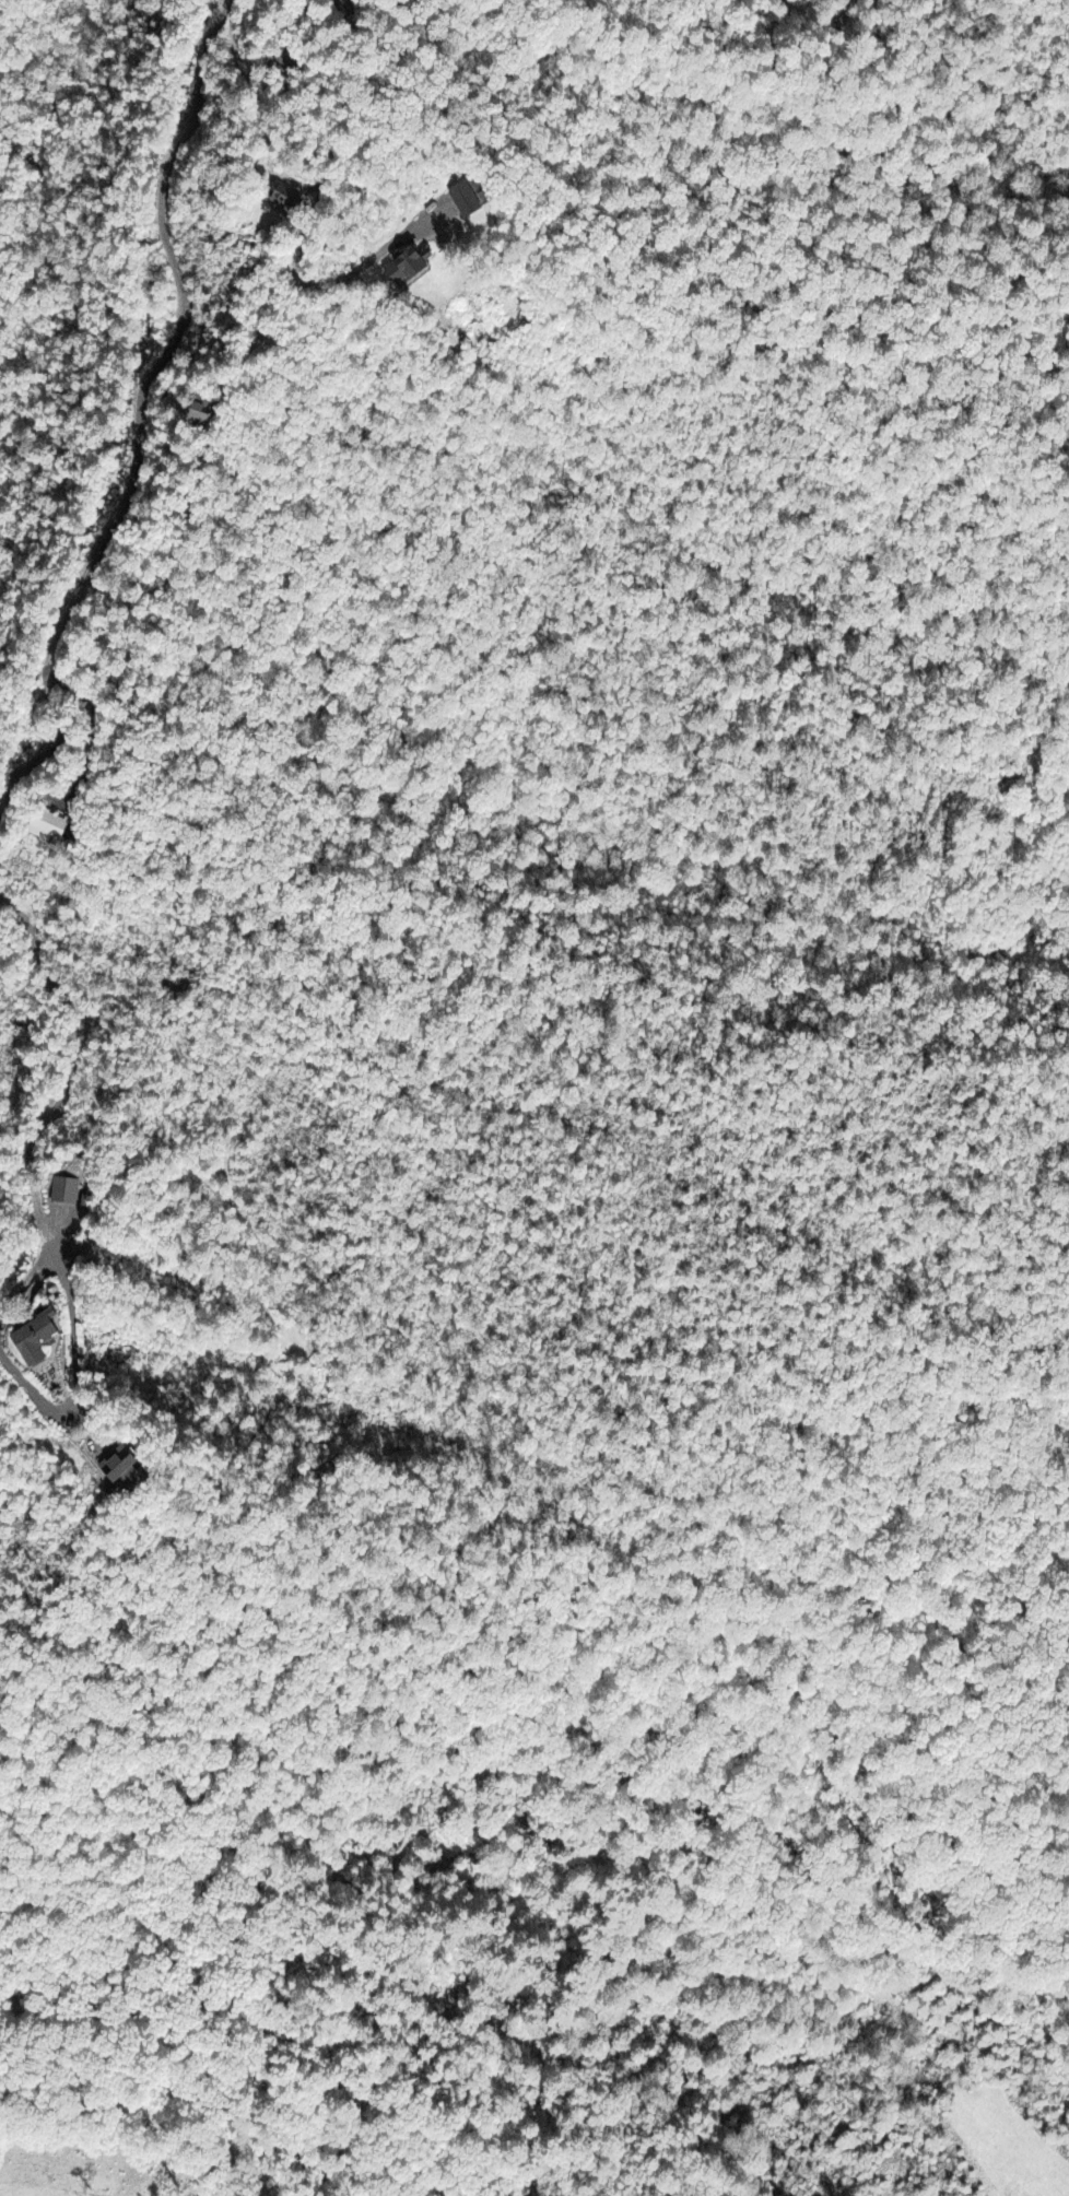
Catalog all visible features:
road: (336, 128)
building: (289, 199)
building: (412, 265)
road: (139, 411)
building: (203, 411)
building: (49, 826)
road: (75, 1018)
building: (67, 1191)
building: (40, 1340)
building: (124, 1466)

